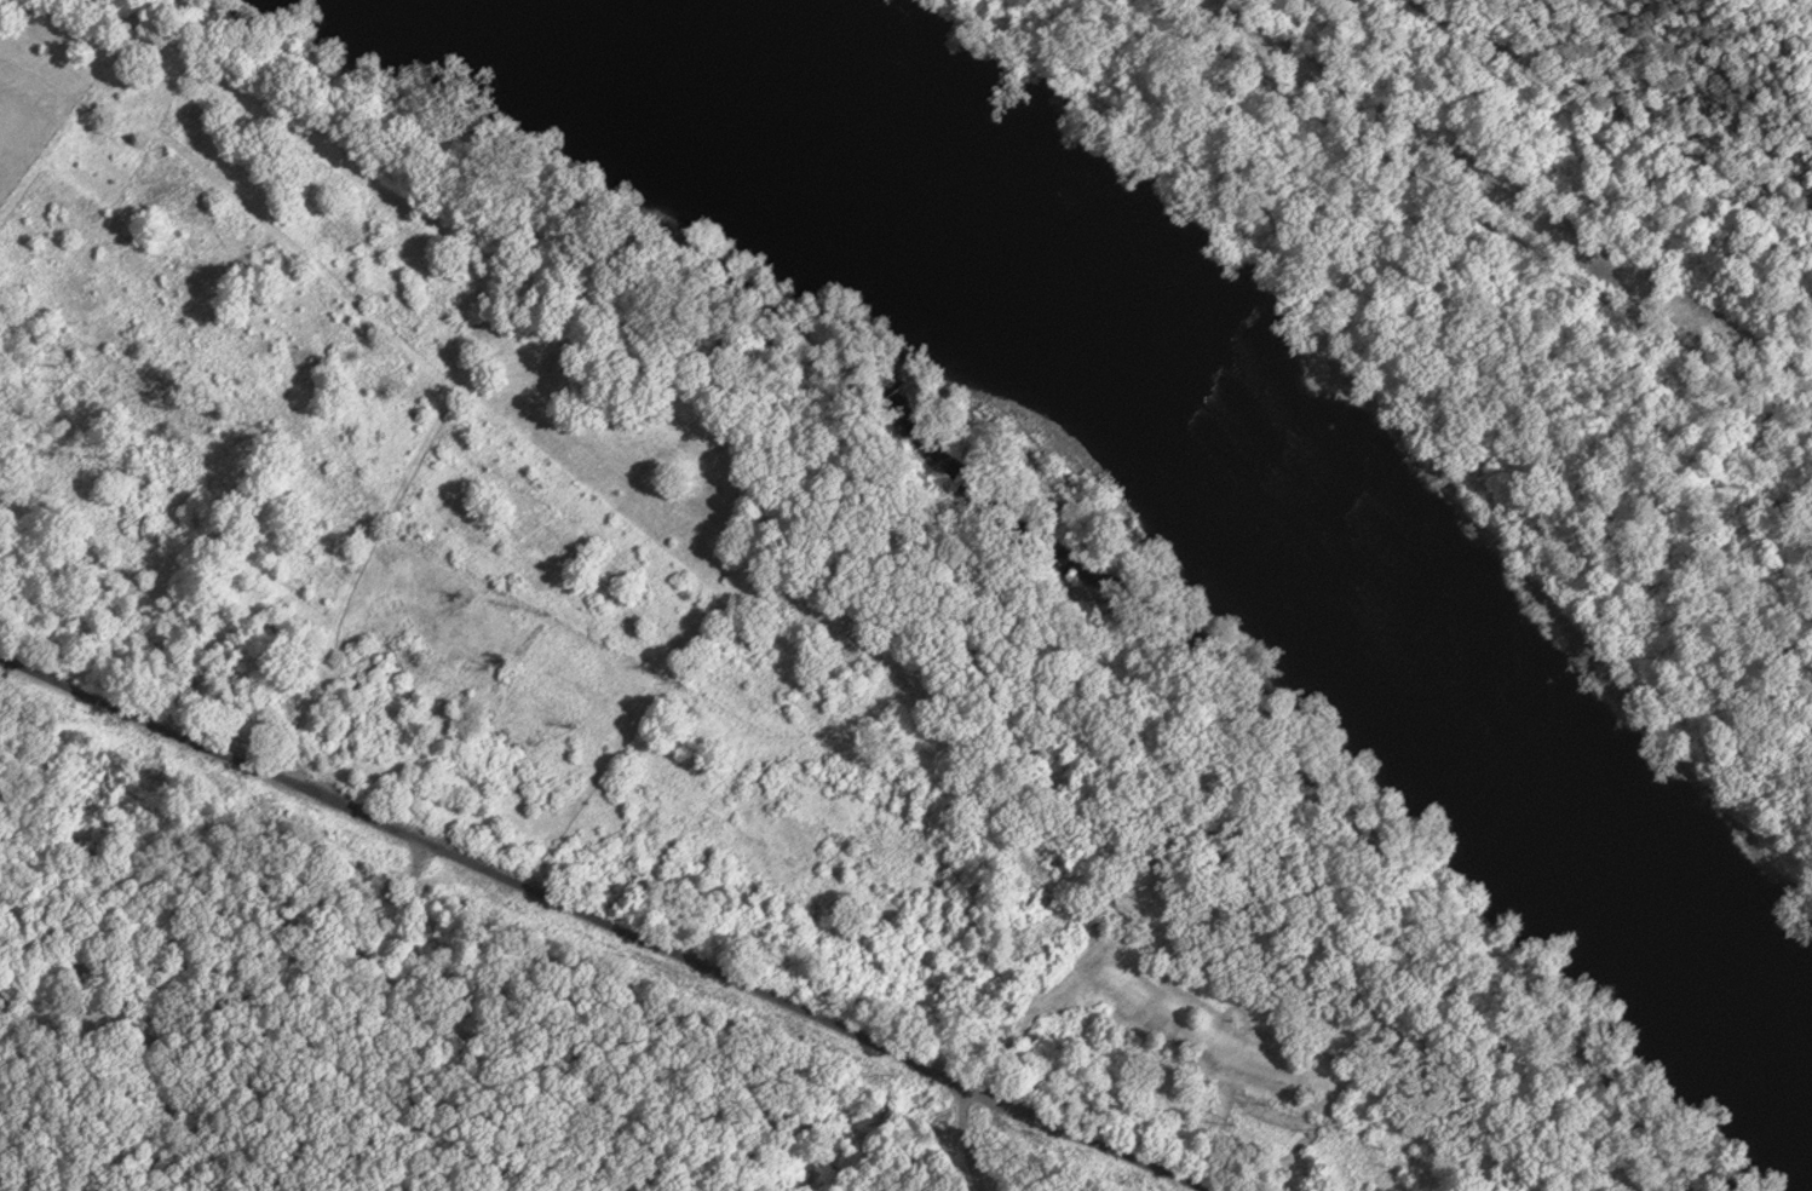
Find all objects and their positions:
road: (1609, 110)
road: (1472, 215)
river: (1255, 467)
road: (485, 865)
road: (502, 1035)
road: (966, 1138)
road: (1088, 1138)

